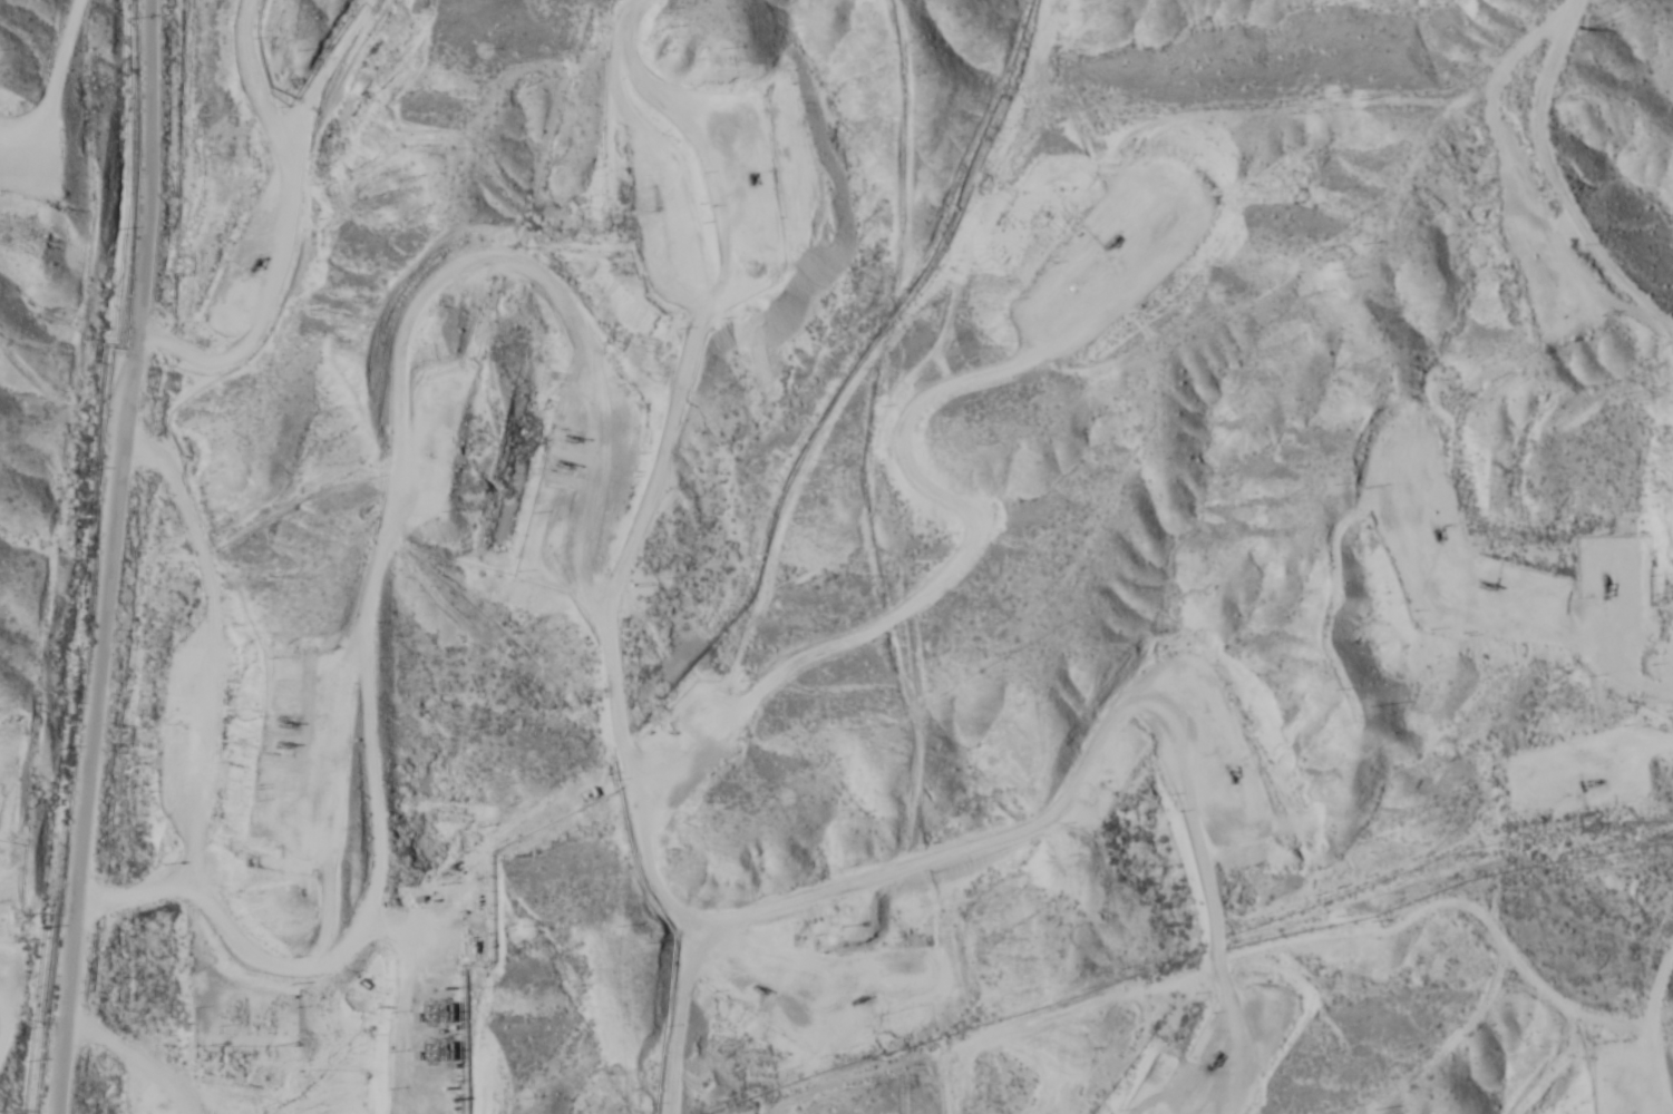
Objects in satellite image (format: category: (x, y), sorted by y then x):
road: (18, 45)
road: (1570, 184)
road: (79, 556)
road: (560, 556)
road: (872, 852)
road: (1651, 1030)

